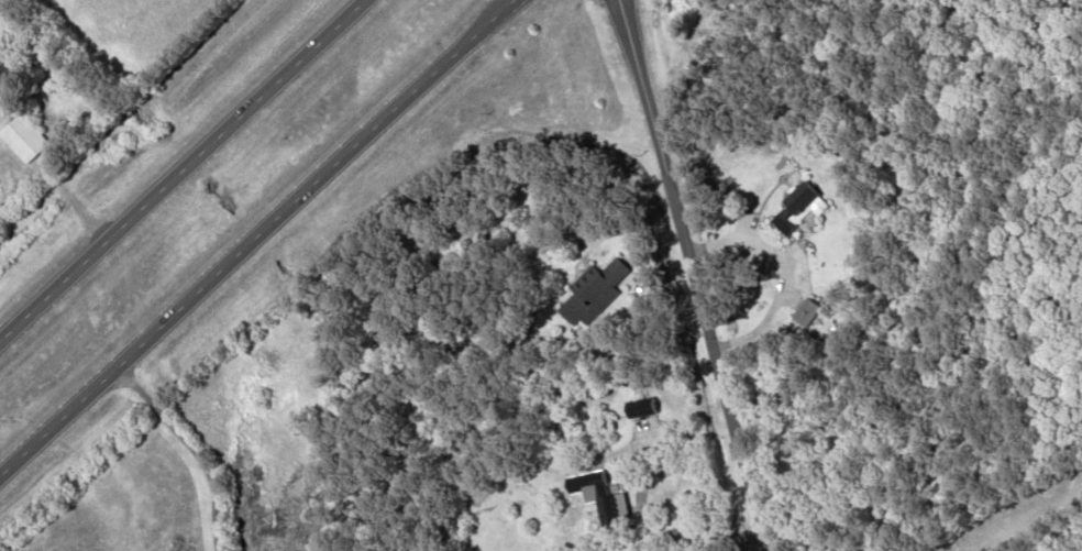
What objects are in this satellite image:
building: (27, 137)
road: (184, 169)
building: (804, 207)
road: (257, 236)
road: (691, 275)
building: (805, 313)
building: (606, 499)

